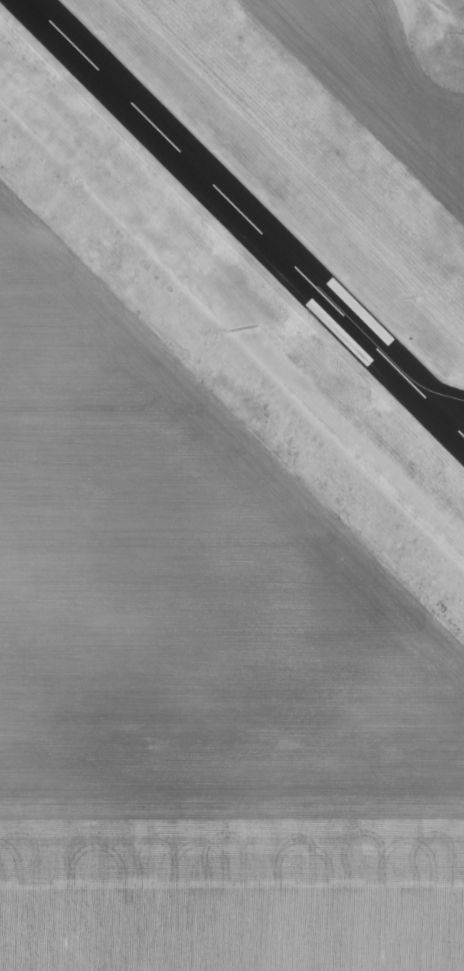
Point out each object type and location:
road: (441, 9)
airport runway: (246, 218)
airport taxiway: (439, 393)
airport: (232, 410)

